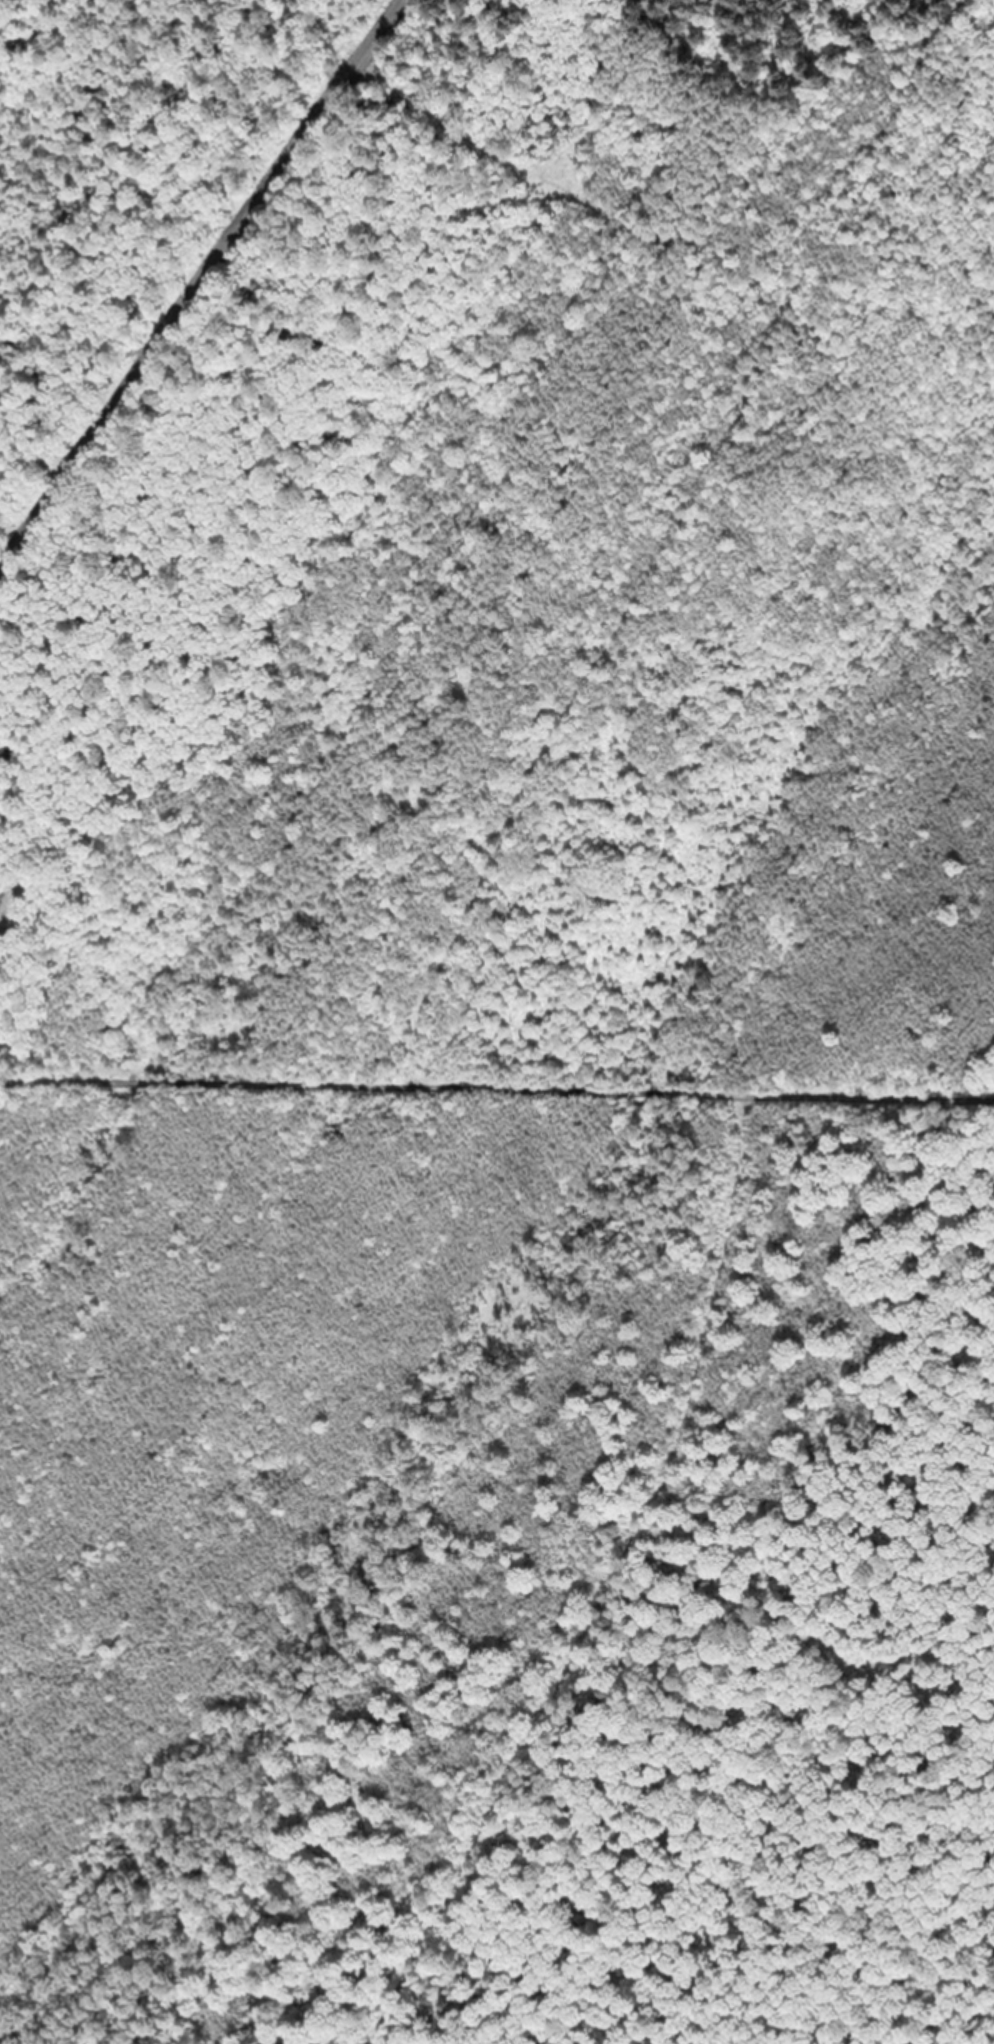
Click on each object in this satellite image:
road: (200, 293)
road: (497, 1093)

